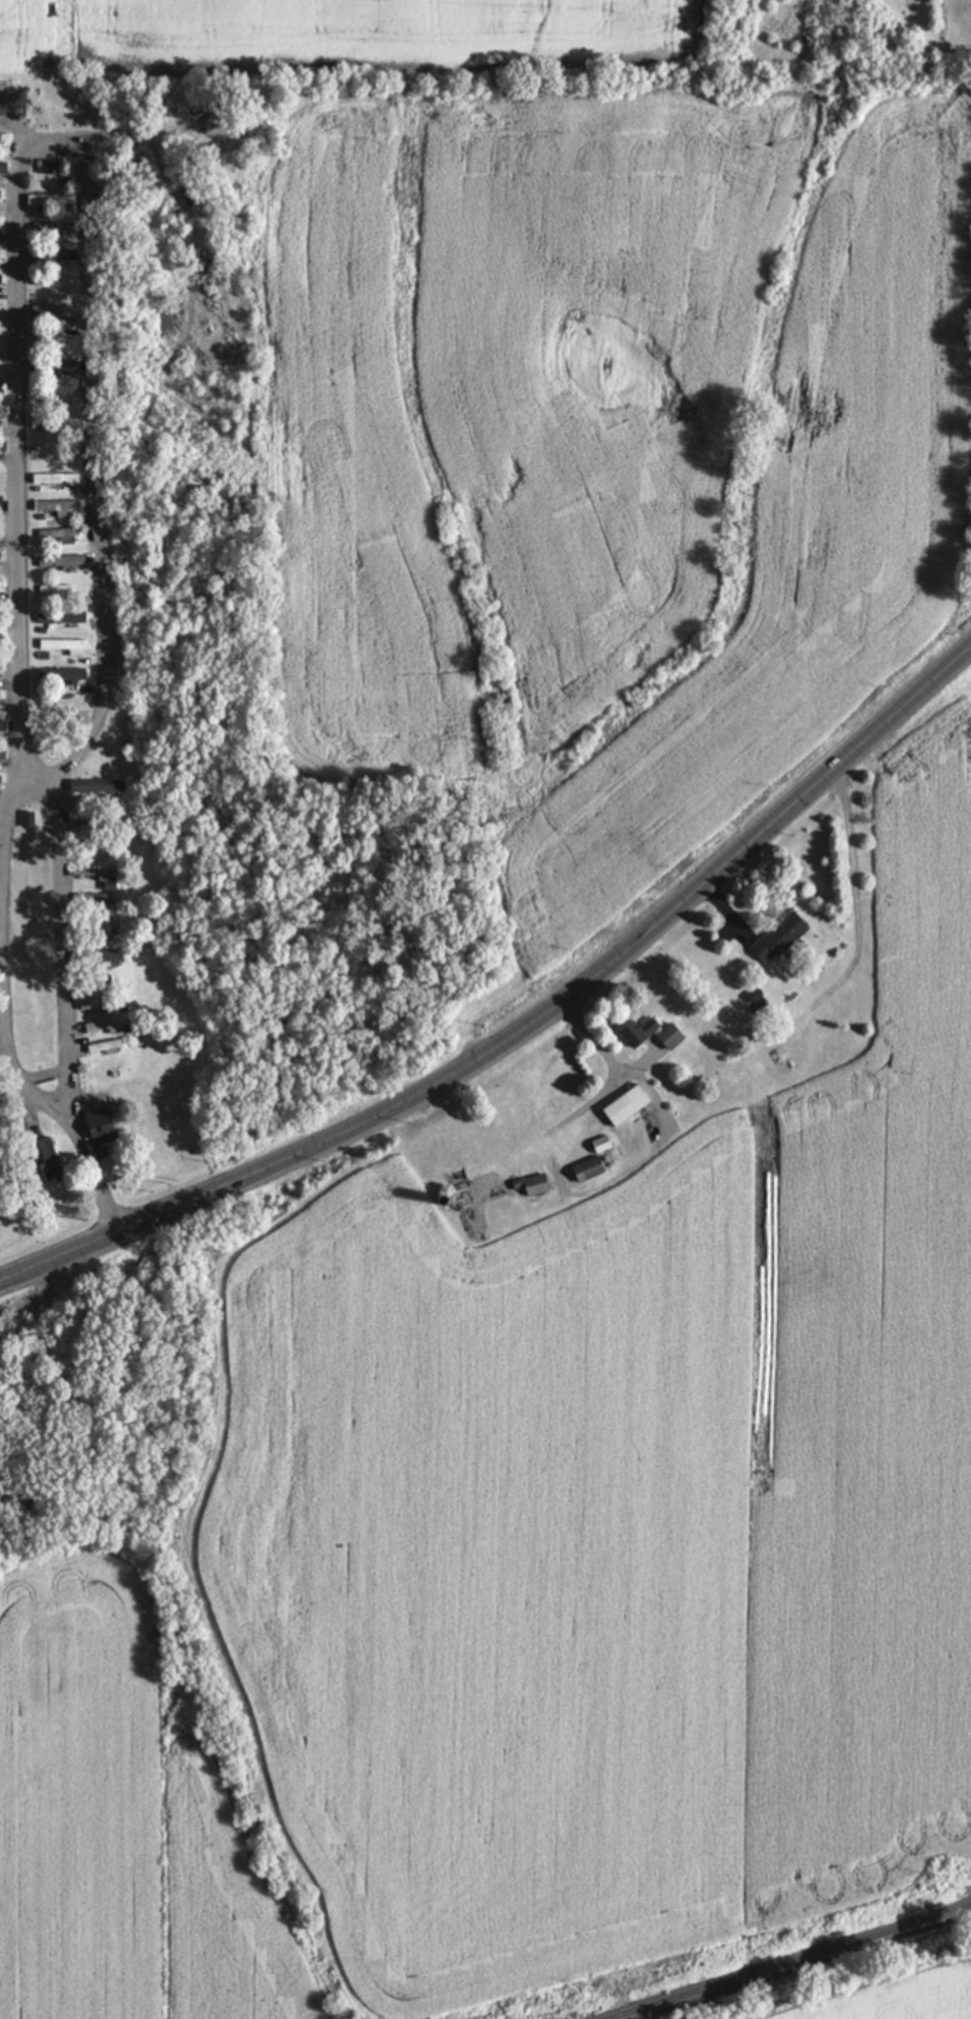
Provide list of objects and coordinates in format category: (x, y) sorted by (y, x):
building: (2, 110)
building: (215, 141)
road: (23, 150)
building: (3, 168)
building: (49, 168)
building: (47, 200)
building: (49, 228)
building: (55, 255)
building: (50, 311)
building: (1, 337)
building: (59, 370)
building: (66, 400)
building: (63, 423)
building: (3, 446)
building: (53, 479)
building: (0, 500)
building: (53, 508)
building: (56, 534)
building: (58, 561)
building: (57, 618)
building: (61, 647)
building: (0, 670)
building: (57, 676)
building: (0, 697)
building: (1, 725)
building: (0, 754)
building: (91, 789)
building: (24, 821)
building: (91, 874)
building: (89, 902)
road: (61, 916)
building: (100, 929)
building: (775, 938)
building: (96, 960)
building: (96, 1004)
road: (528, 1026)
building: (97, 1028)
building: (645, 1034)
building: (101, 1048)
road: (28, 1095)
building: (620, 1105)
building: (96, 1125)
building: (597, 1144)
building: (38, 1160)
road: (86, 1169)
building: (584, 1170)
building: (530, 1185)
railway: (787, 1961)
road: (31, 1972)

